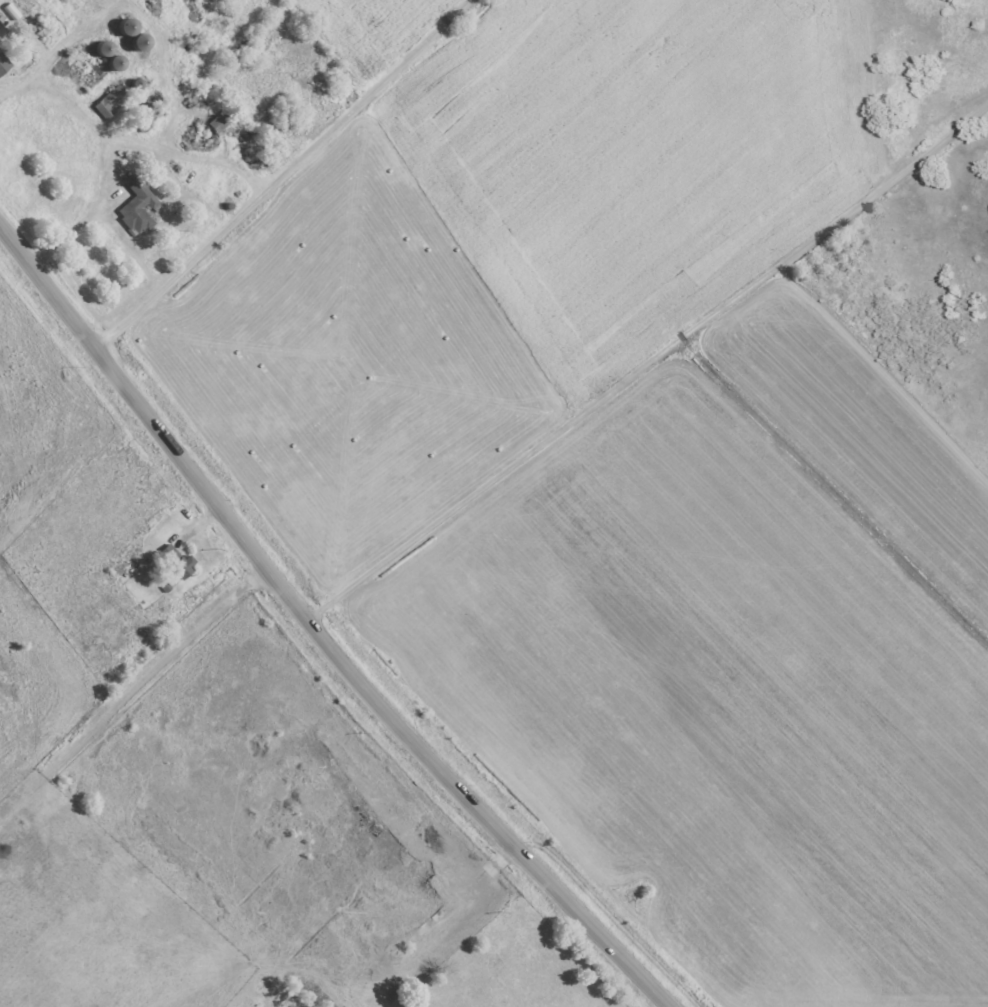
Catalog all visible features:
building: (124, 28)
building: (136, 43)
building: (101, 50)
building: (113, 64)
building: (3, 65)
building: (83, 76)
road: (88, 93)
road: (2, 94)
building: (106, 107)
road: (147, 160)
road: (288, 176)
building: (135, 207)
road: (653, 358)
building: (173, 561)
road: (320, 628)

